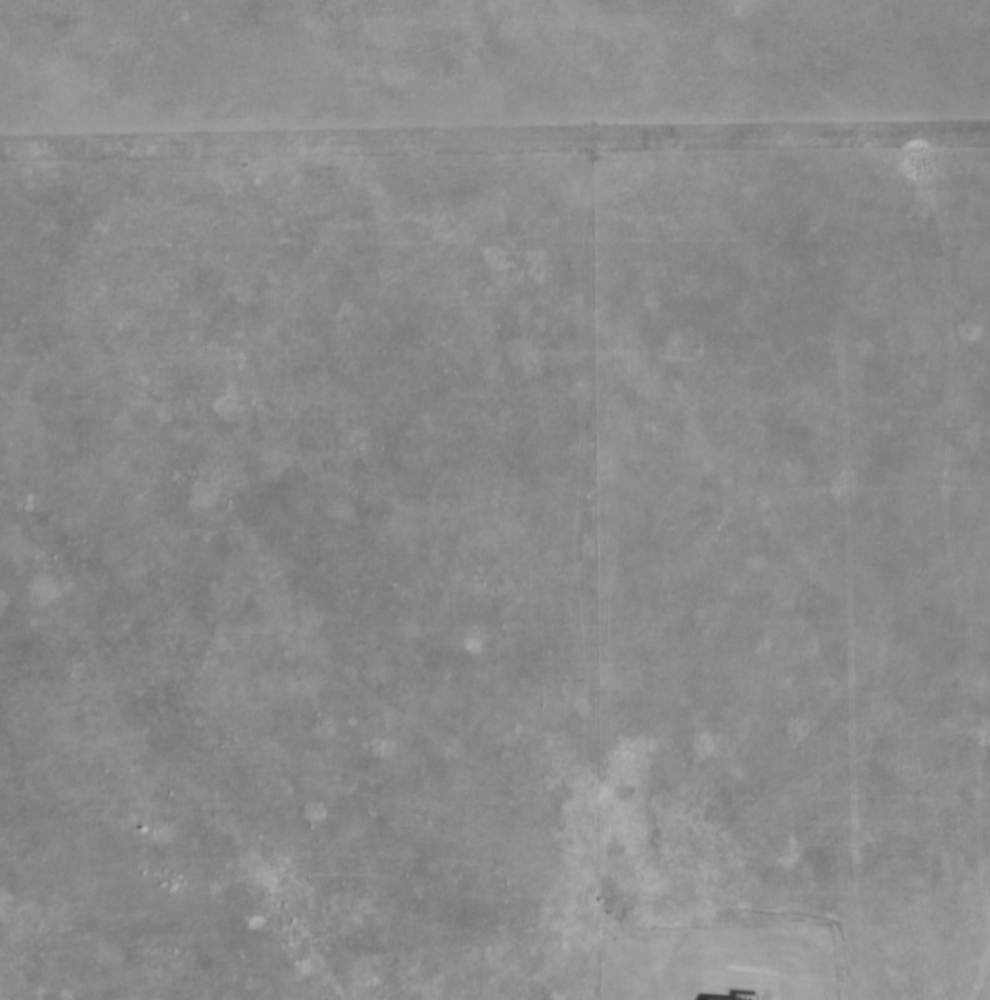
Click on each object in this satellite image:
building: (729, 998)

